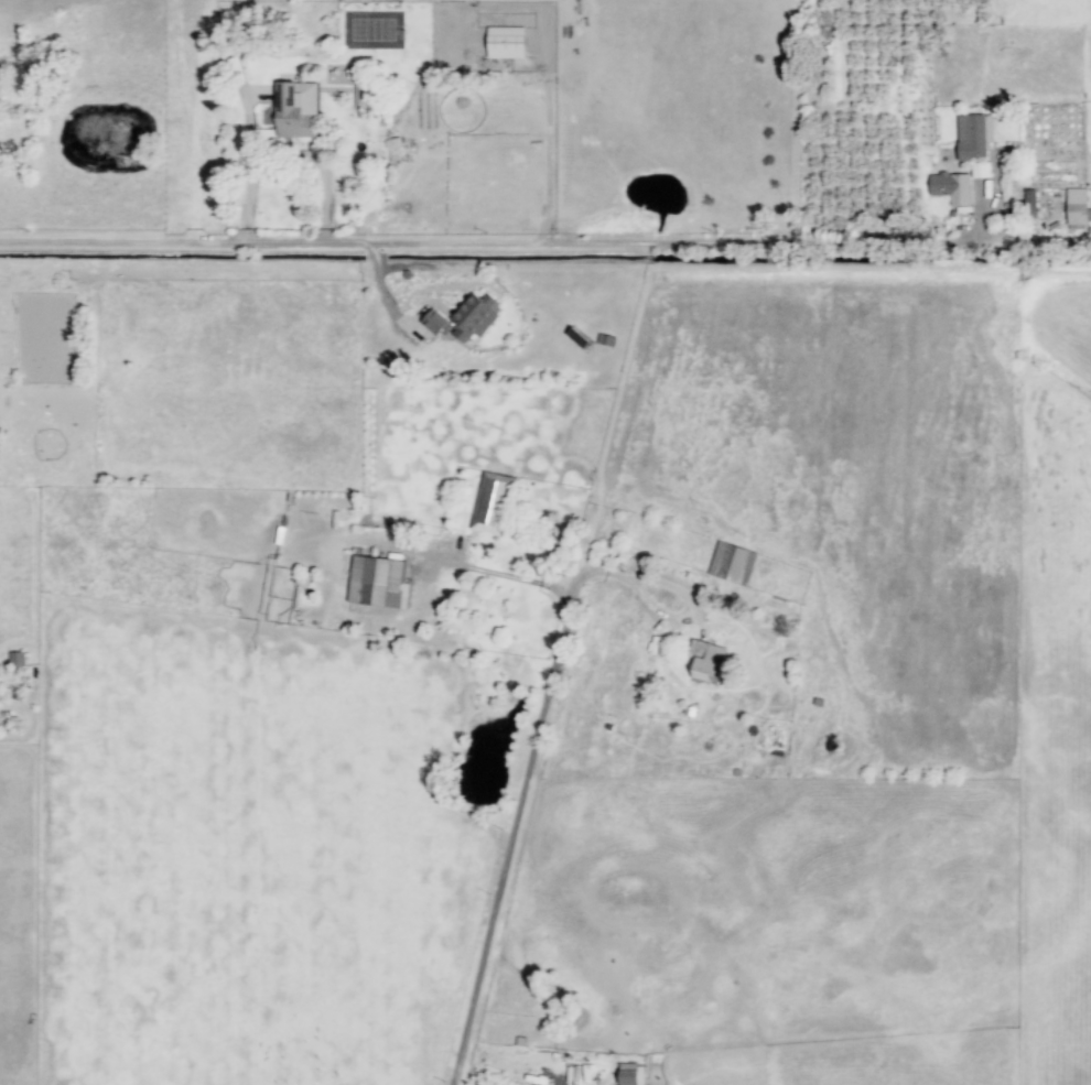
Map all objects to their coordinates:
building: (363, 104)
building: (295, 110)
building: (973, 135)
road: (322, 170)
building: (979, 170)
road: (252, 174)
building: (951, 187)
building: (1028, 204)
building: (1076, 208)
road: (499, 243)
building: (473, 317)
building: (434, 322)
building: (490, 503)
building: (731, 563)
road: (504, 575)
building: (377, 582)
road: (662, 608)
building: (15, 659)
building: (705, 662)
road: (517, 828)
building: (630, 1074)

